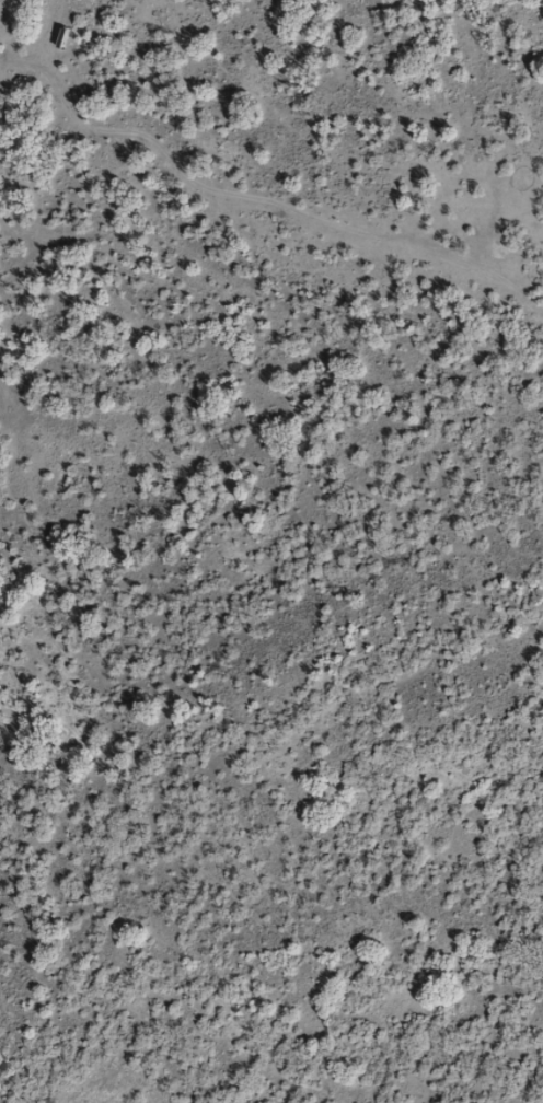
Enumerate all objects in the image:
road: (263, 214)

